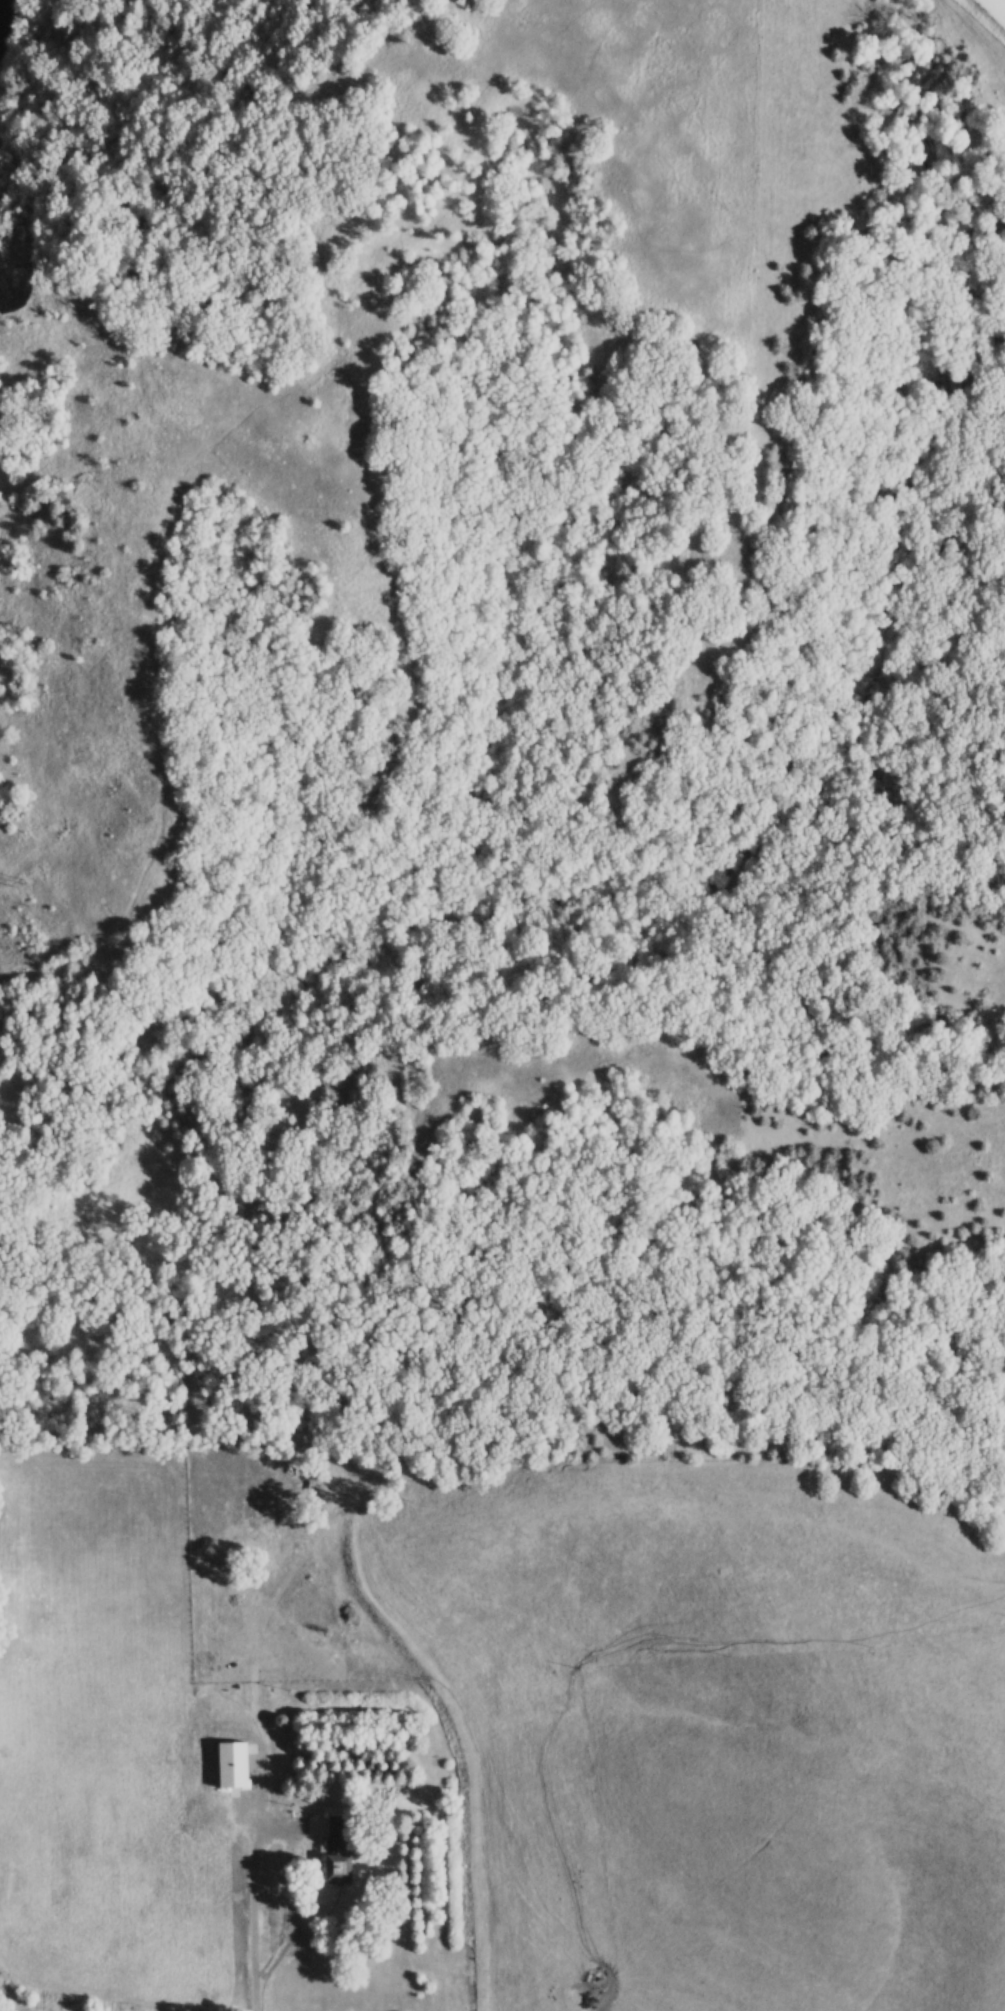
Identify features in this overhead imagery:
building: (229, 1689)
building: (230, 1767)
building: (341, 1852)
road: (8, 2004)

